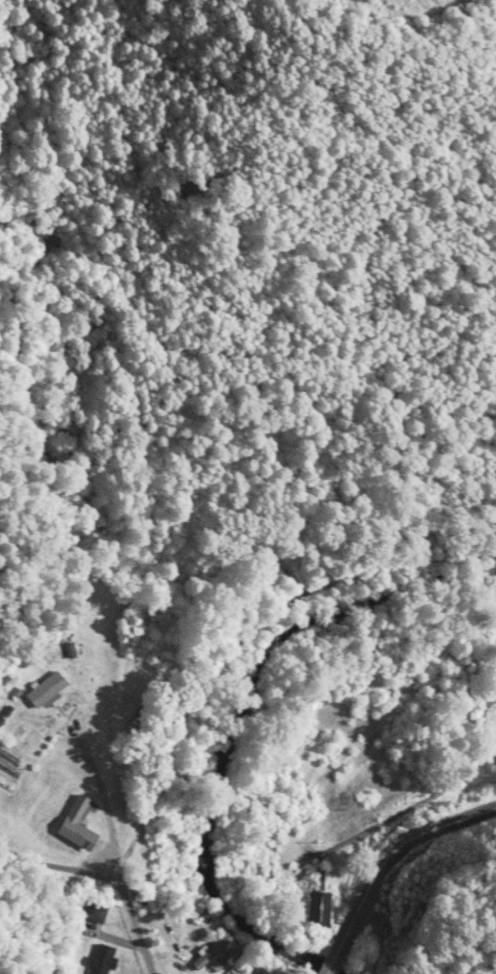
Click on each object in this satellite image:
quarry: (423, 3)
building: (49, 689)
building: (81, 825)
road: (384, 862)
road: (109, 872)
building: (322, 909)
building: (97, 912)
building: (212, 951)
building: (104, 959)
building: (225, 960)
building: (266, 972)

